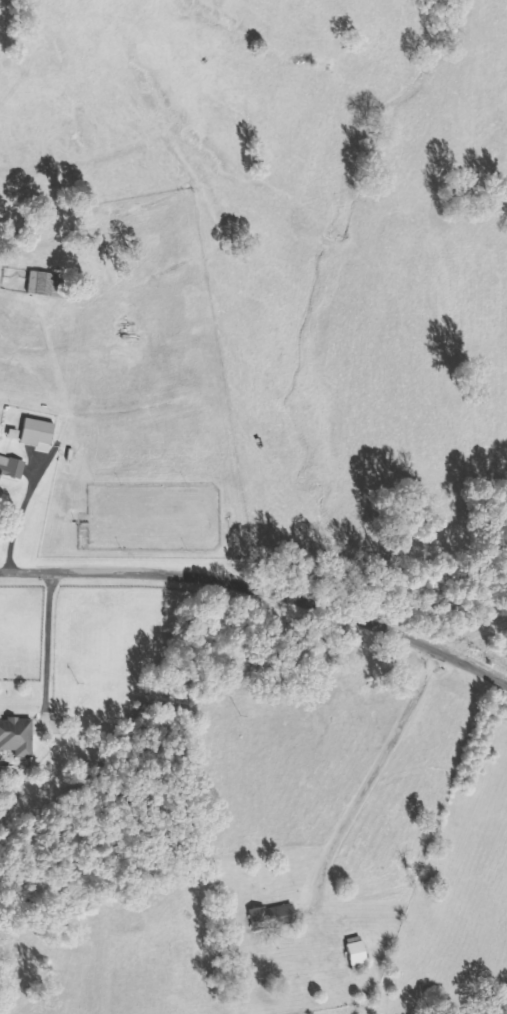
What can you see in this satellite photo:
building: (39, 433)
building: (12, 468)
road: (258, 611)
building: (18, 737)
building: (274, 918)
building: (358, 952)

